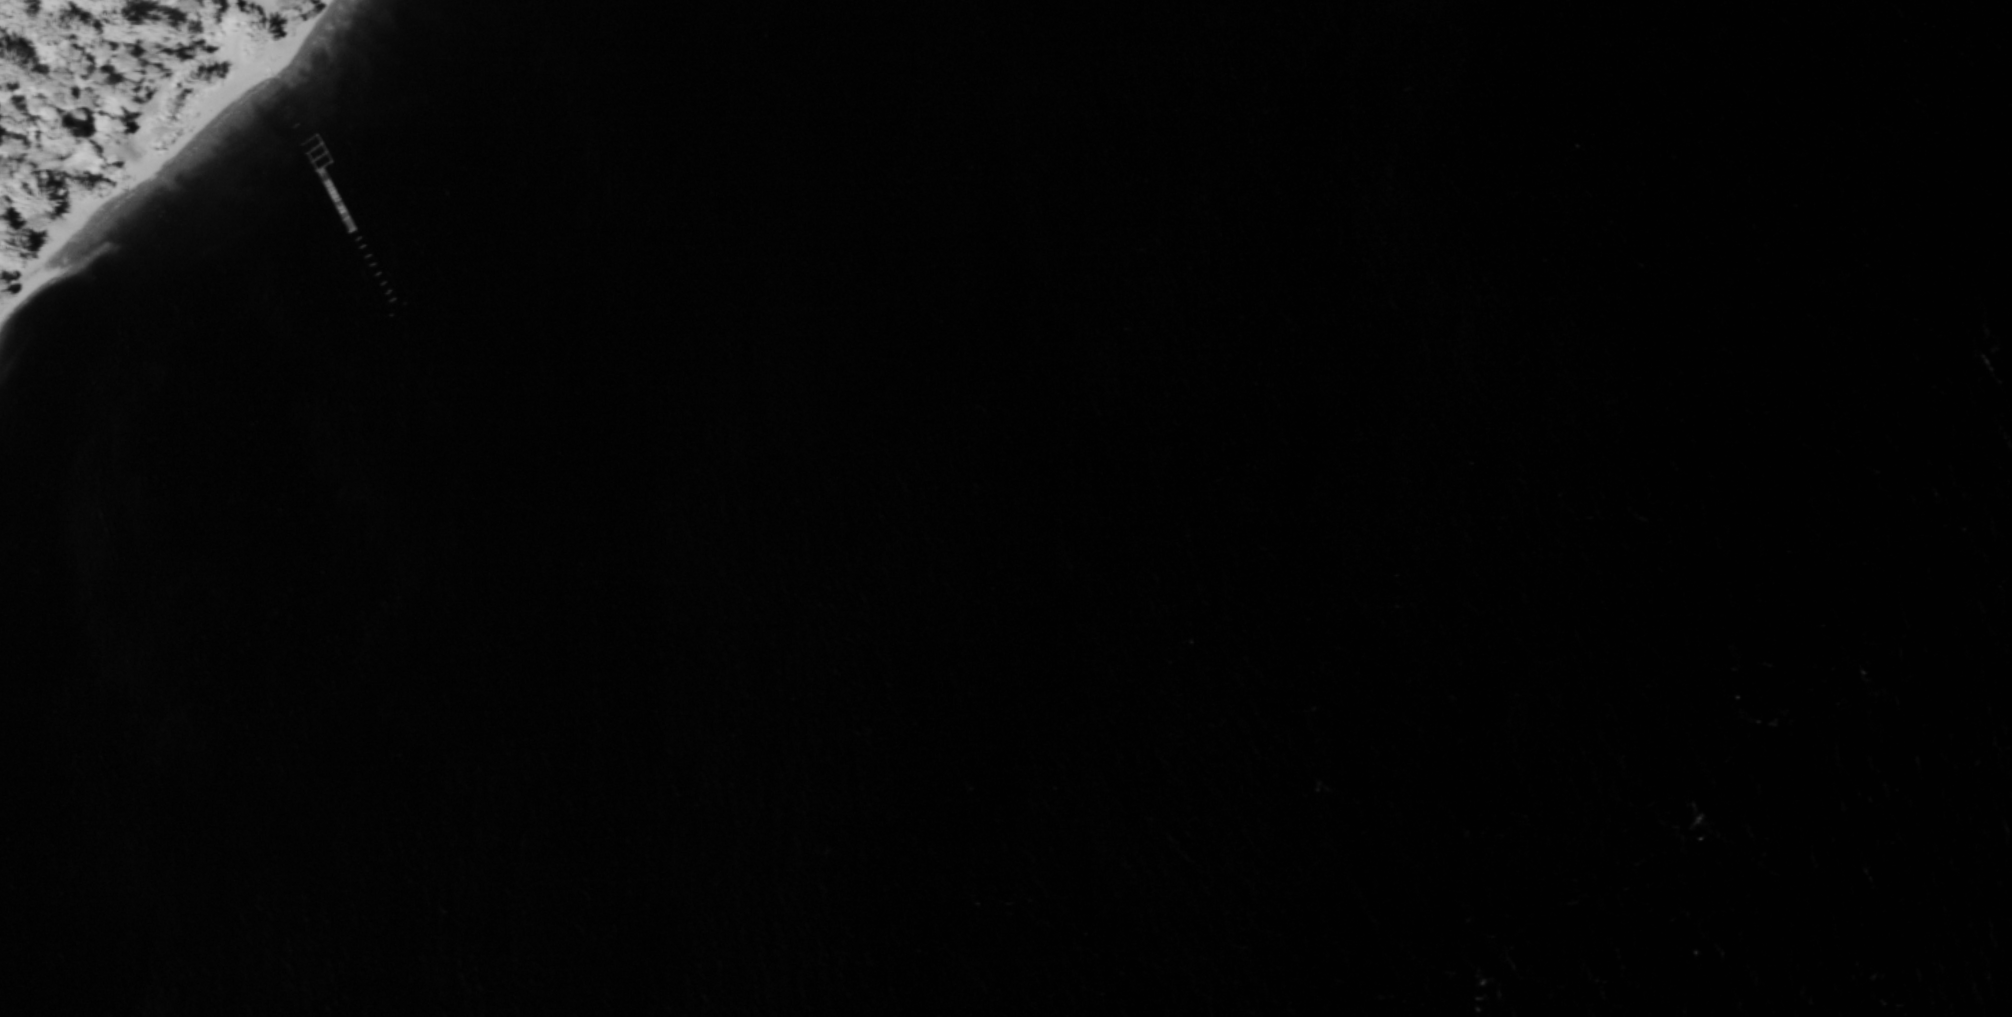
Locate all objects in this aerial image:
road: (132, 145)
pier: (324, 183)

